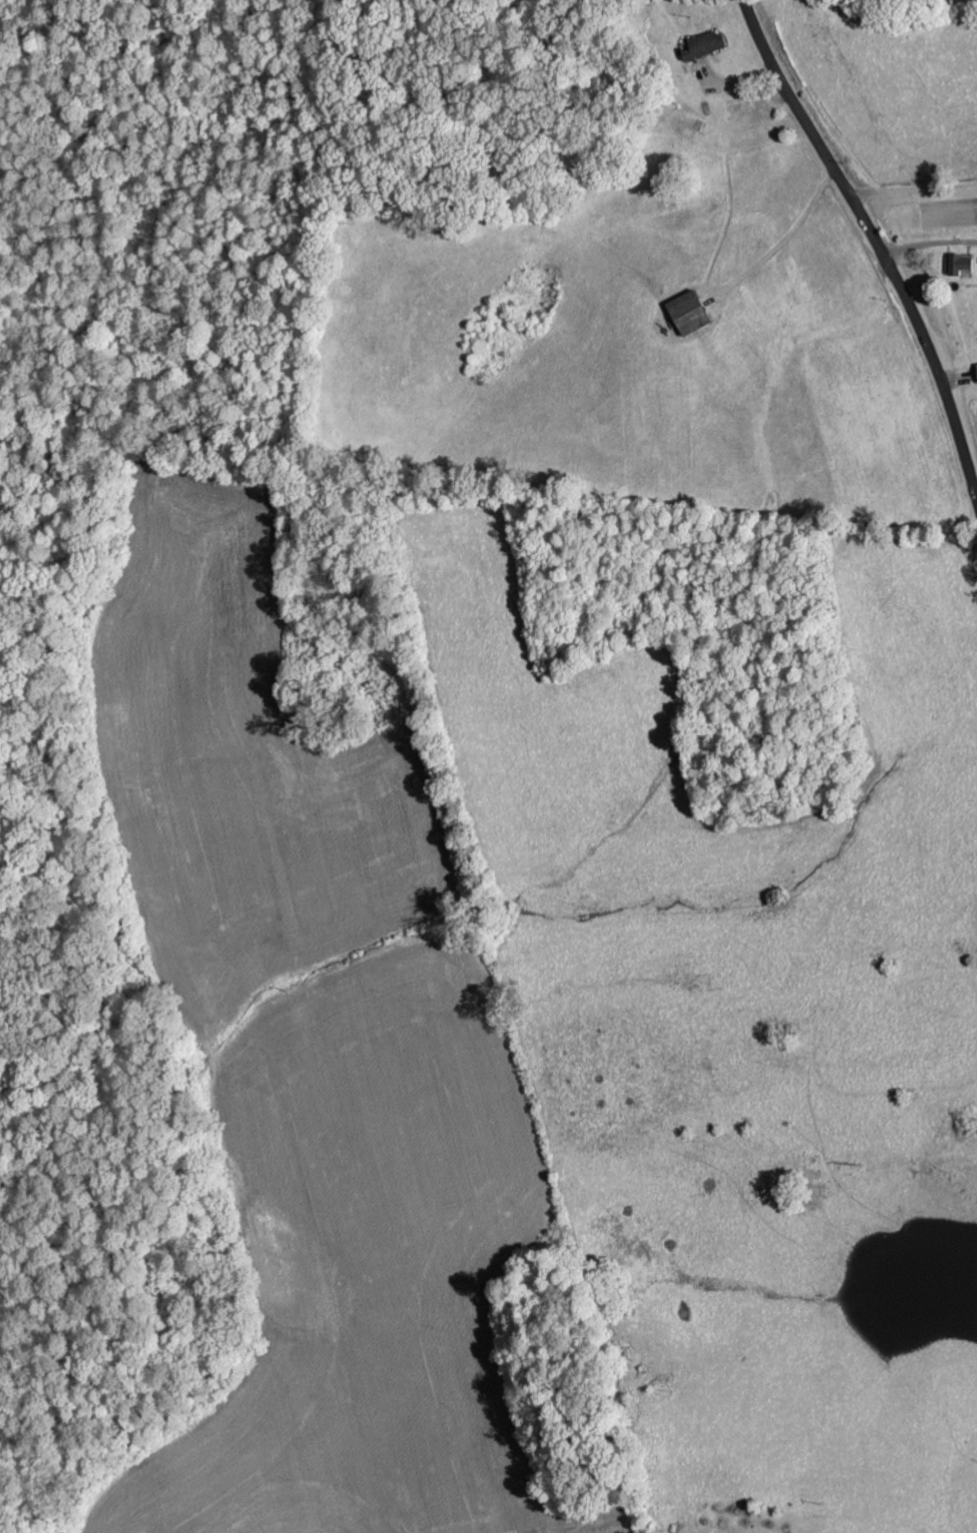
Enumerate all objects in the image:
building: (709, 44)
road: (876, 243)
building: (963, 264)
building: (697, 312)

